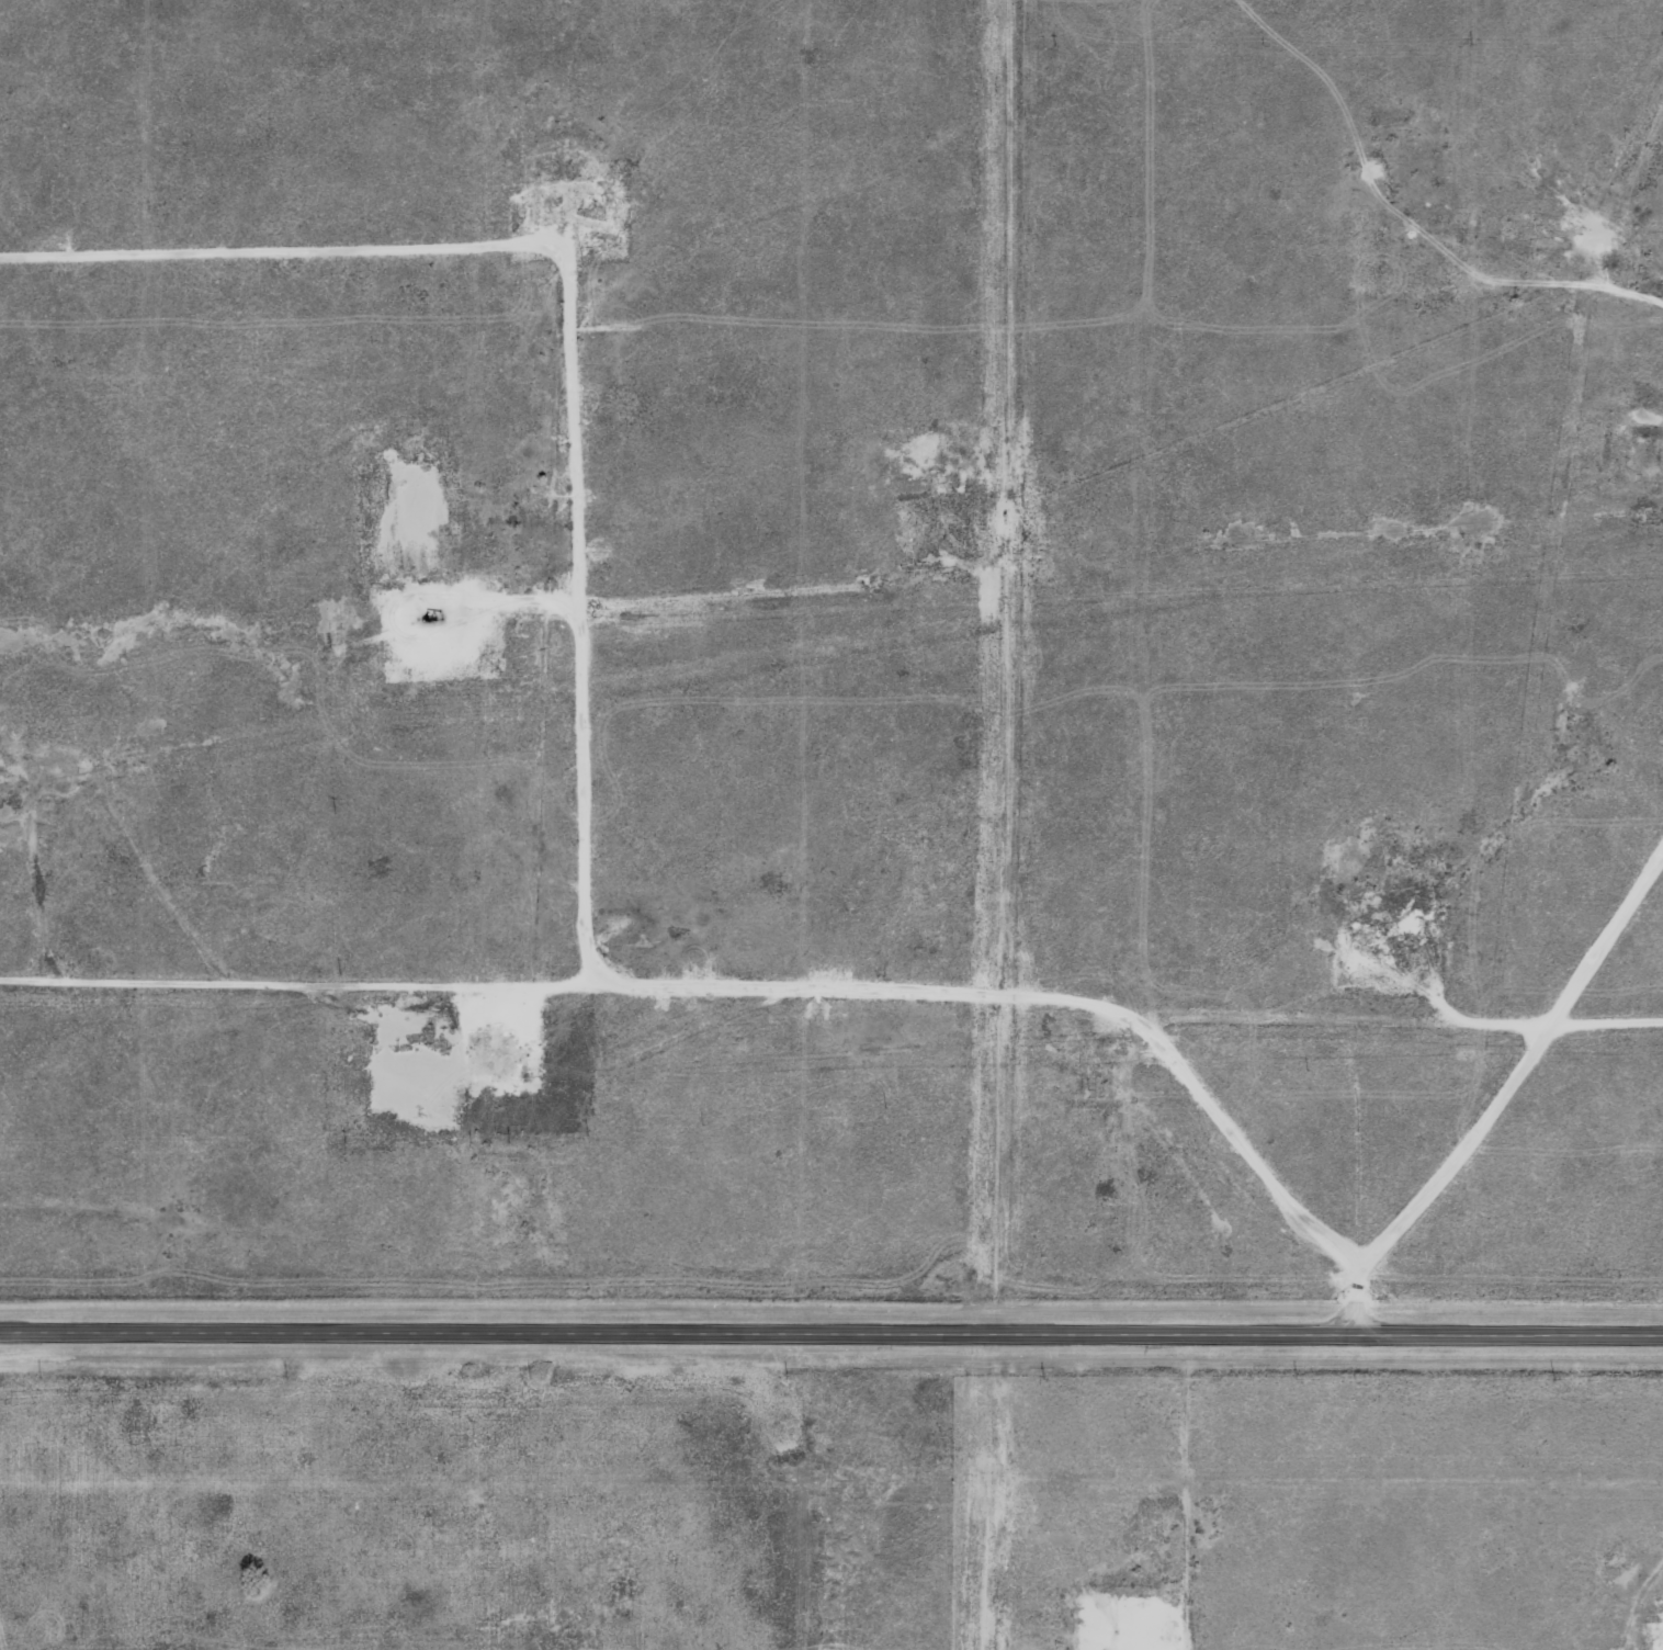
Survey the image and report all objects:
road: (1660, 297)
road: (576, 640)
road: (760, 991)
road: (1608, 1017)
road: (1500, 1095)
road: (830, 1333)

